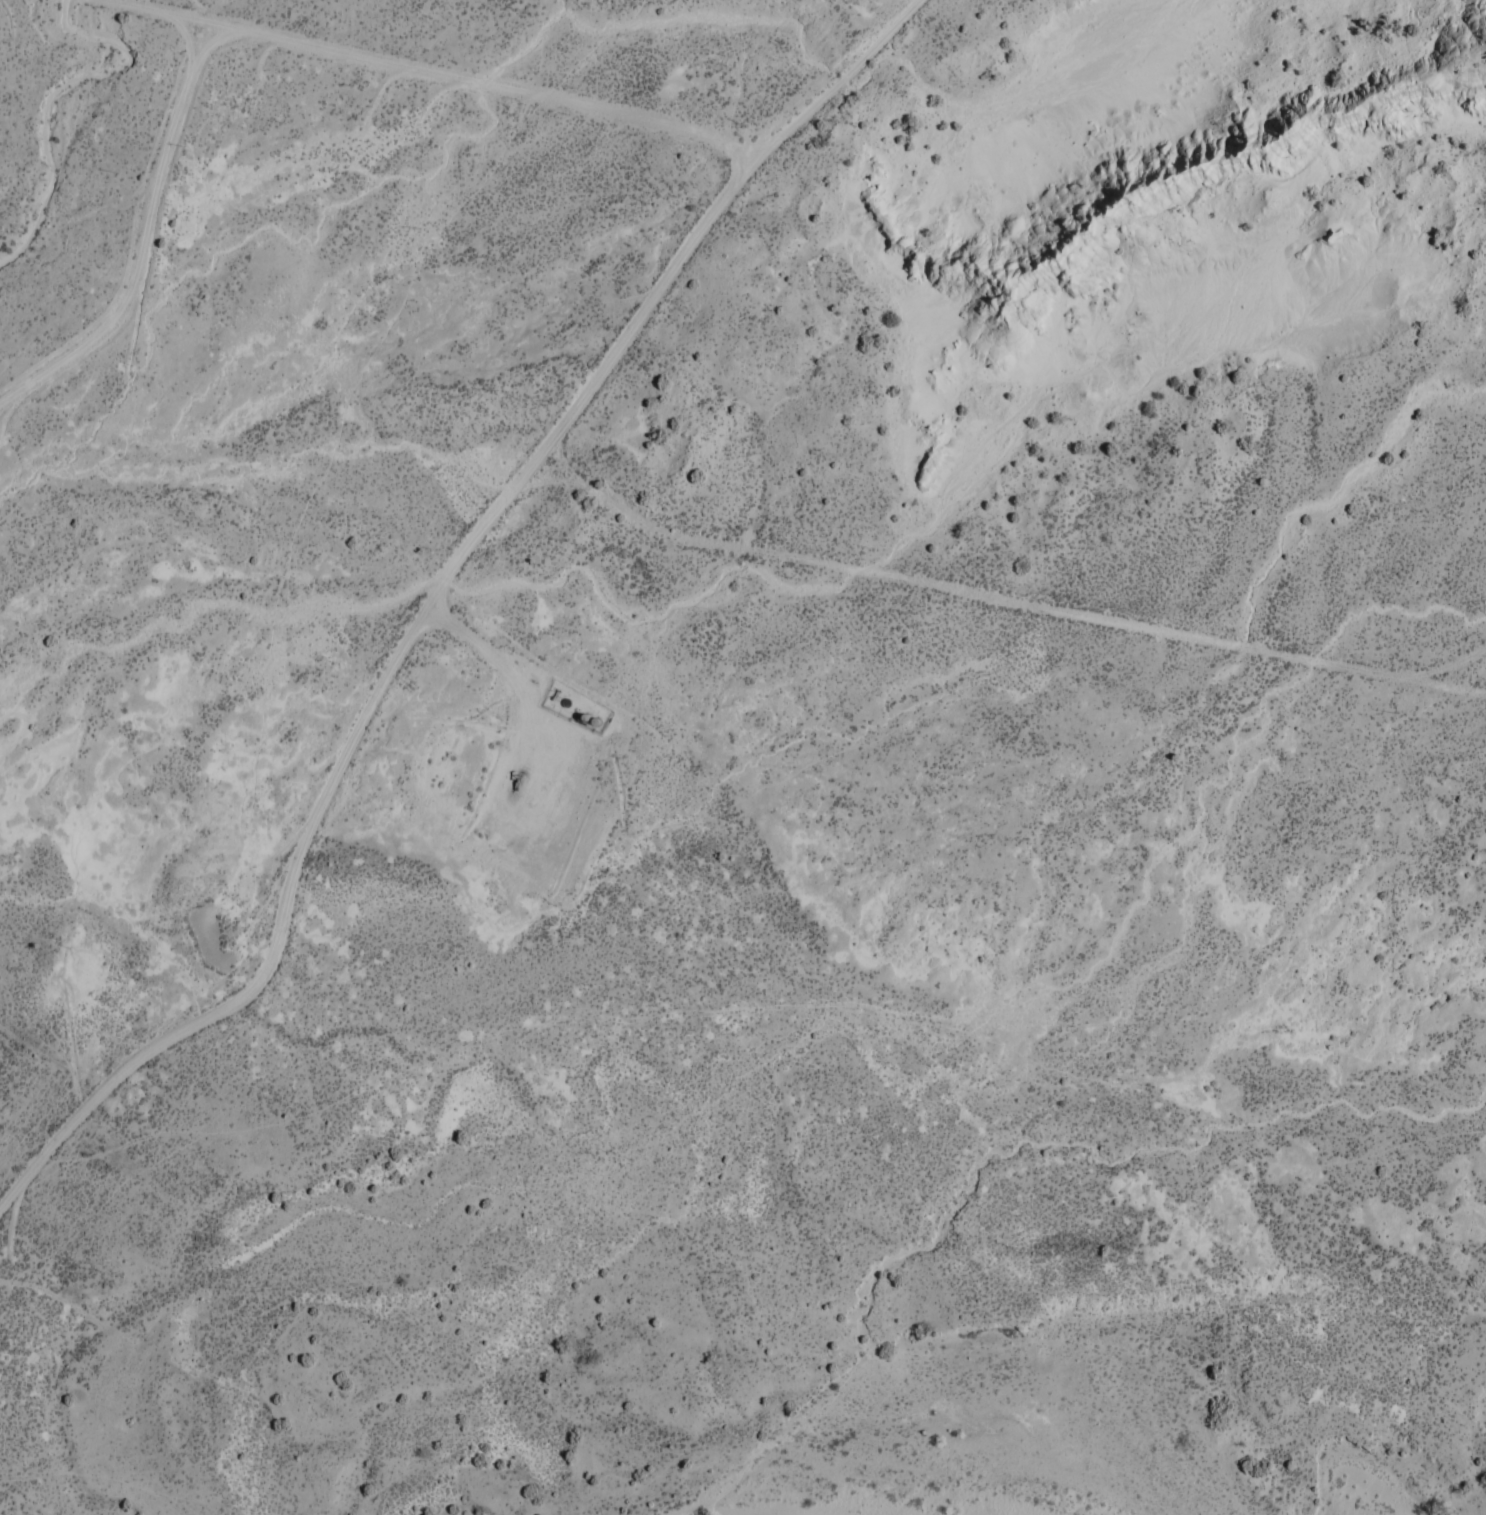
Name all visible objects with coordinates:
road: (442, 578)

